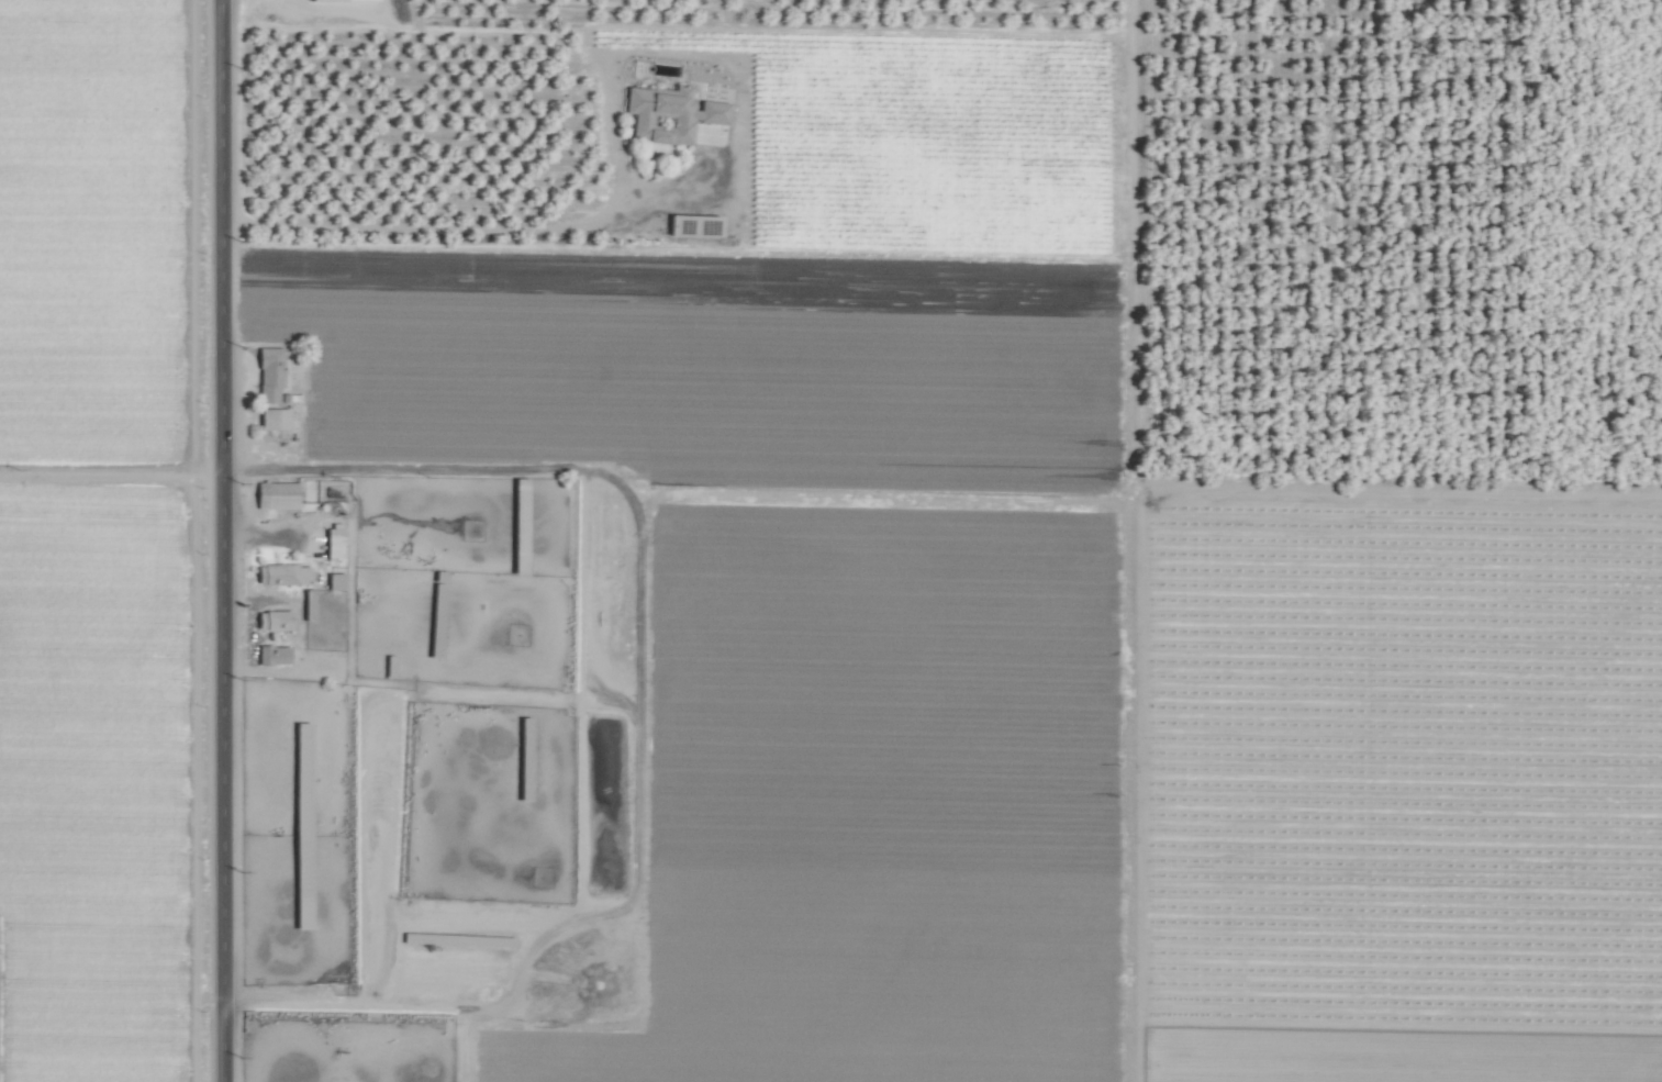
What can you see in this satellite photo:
building: (668, 114)
road: (446, 226)
building: (268, 373)
building: (272, 419)
road: (390, 469)
road: (107, 481)
building: (275, 495)
road: (214, 540)
crop: (830, 540)
building: (281, 575)
building: (334, 581)
building: (271, 621)
building: (271, 655)
crop: (433, 768)

